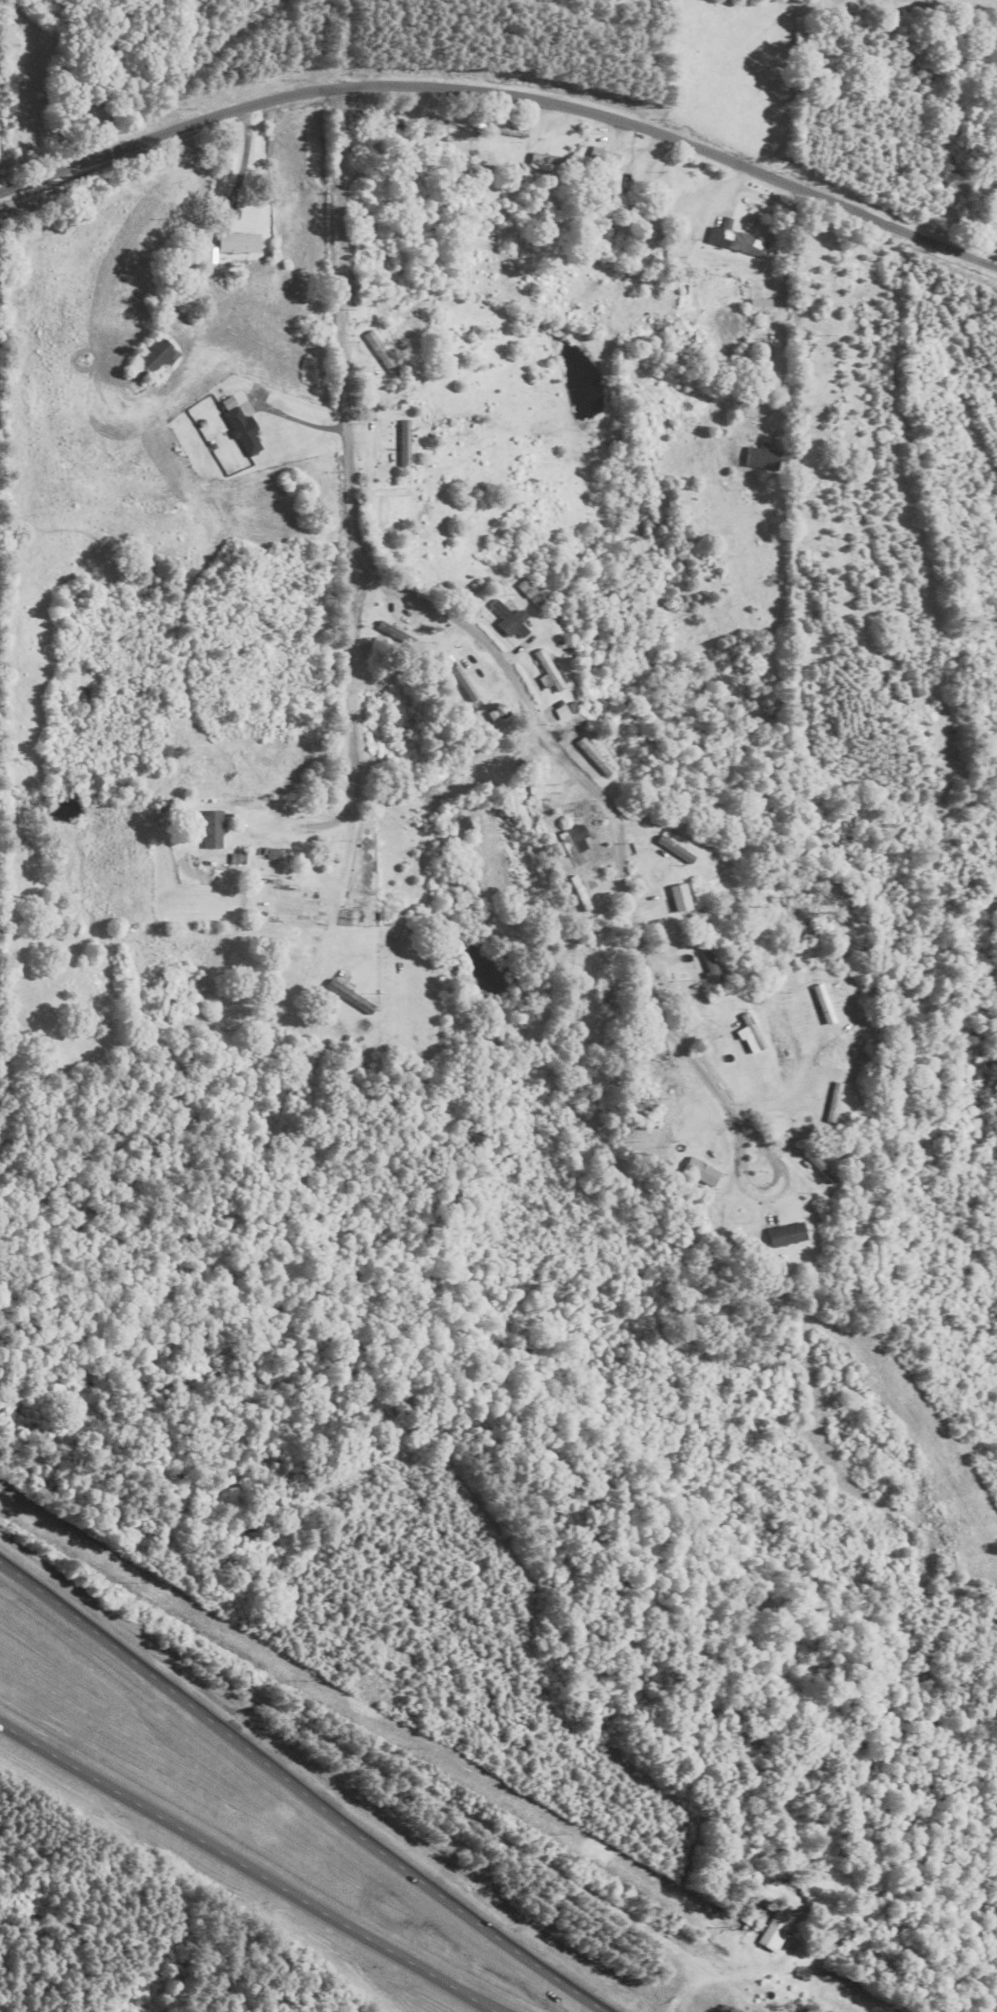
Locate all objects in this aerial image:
road: (504, 94)
building: (373, 115)
building: (605, 157)
building: (240, 242)
building: (738, 242)
building: (362, 256)
road: (995, 258)
building: (381, 353)
building: (155, 355)
building: (406, 443)
building: (762, 458)
building: (511, 620)
building: (396, 633)
road: (477, 636)
building: (550, 672)
building: (466, 683)
building: (563, 712)
road: (352, 738)
building: (596, 757)
building: (545, 789)
building: (213, 830)
building: (574, 840)
building: (678, 850)
building: (683, 898)
building: (353, 999)
building: (613, 1001)
building: (666, 1079)
building: (836, 1103)
building: (788, 1235)
road: (300, 1789)
road: (244, 1869)
building: (775, 1930)

